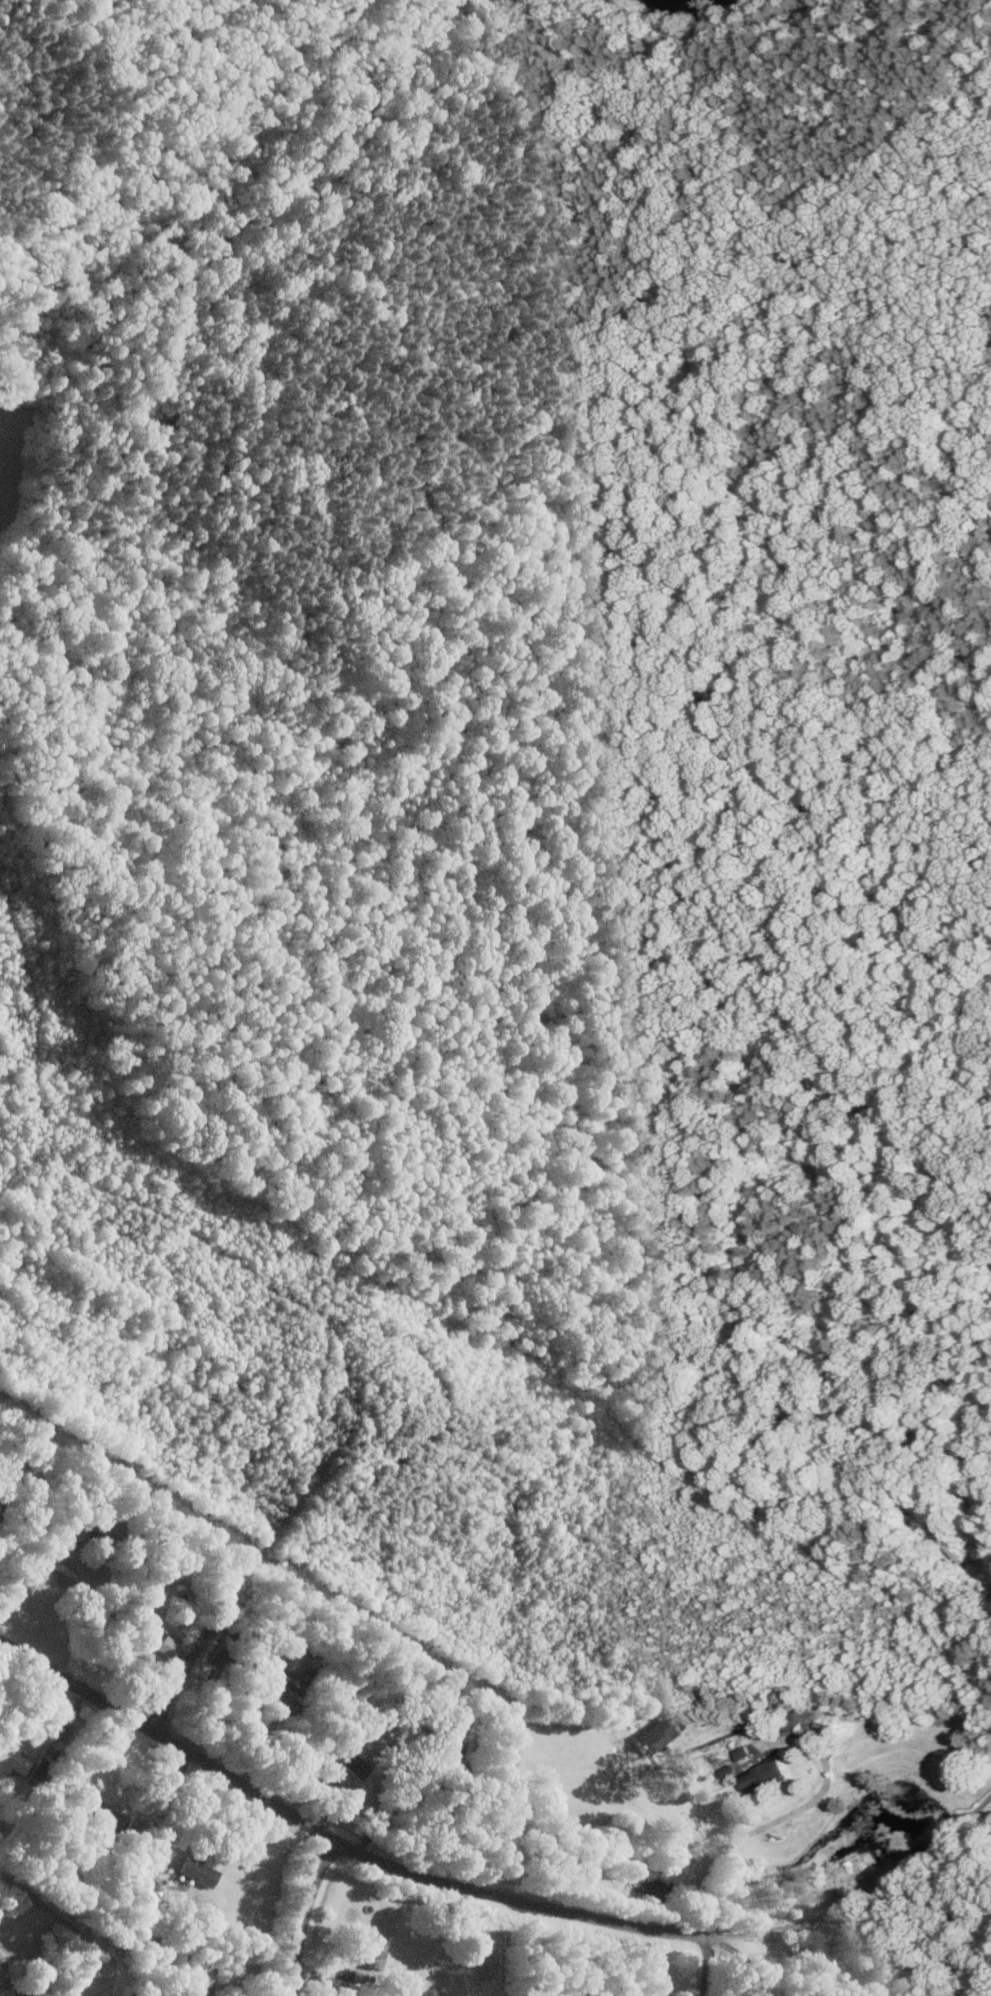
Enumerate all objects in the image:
building: (157, 1639)
road: (200, 1646)
building: (283, 1696)
building: (656, 1732)
building: (12, 1761)
building: (351, 1762)
building: (762, 1776)
road: (251, 1791)
road: (390, 1804)
road: (161, 1816)
road: (772, 1822)
building: (198, 1872)
road: (853, 1903)
road: (305, 1916)
road: (600, 1923)
building: (373, 1954)
road: (743, 1958)
road: (706, 1966)
building: (188, 1995)

